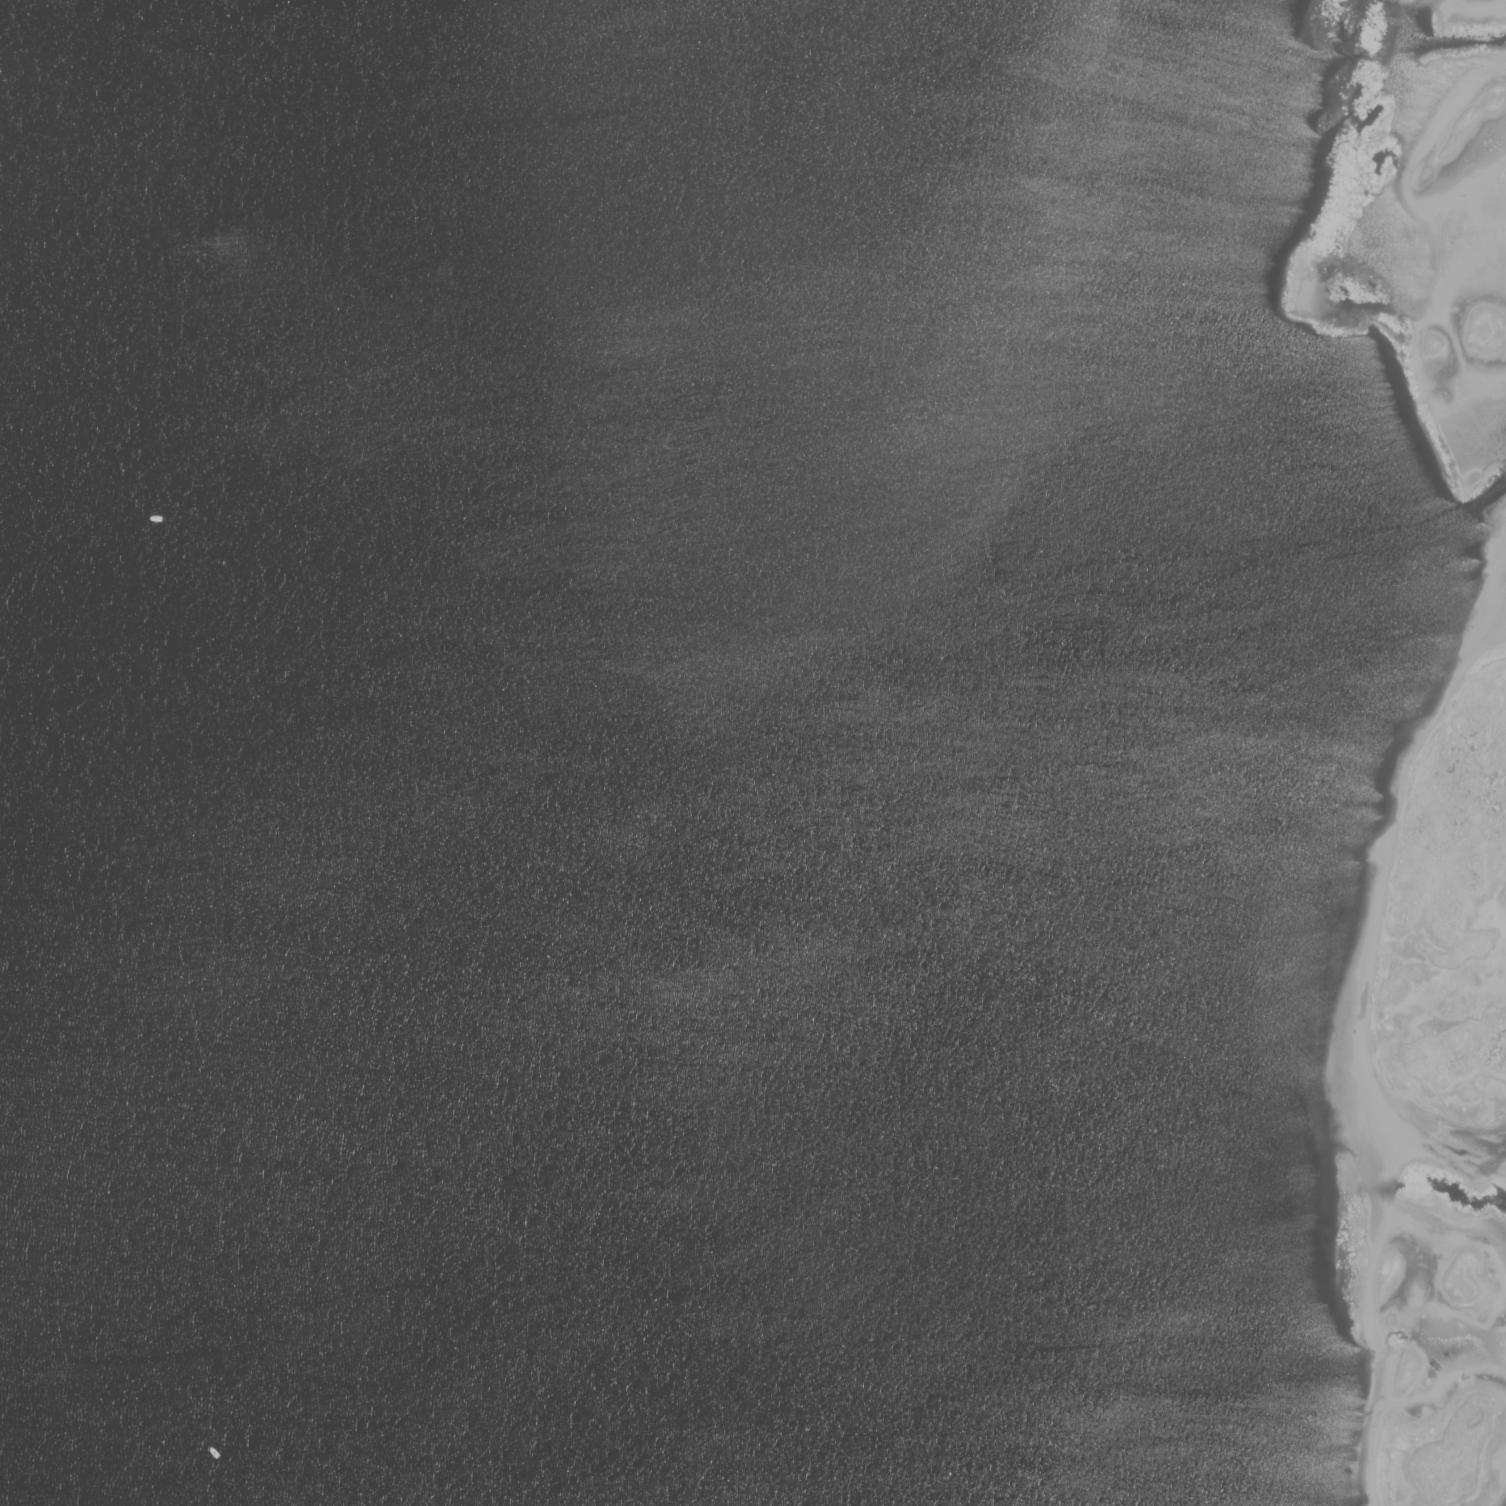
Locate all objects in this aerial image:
park: (1412, 717)

